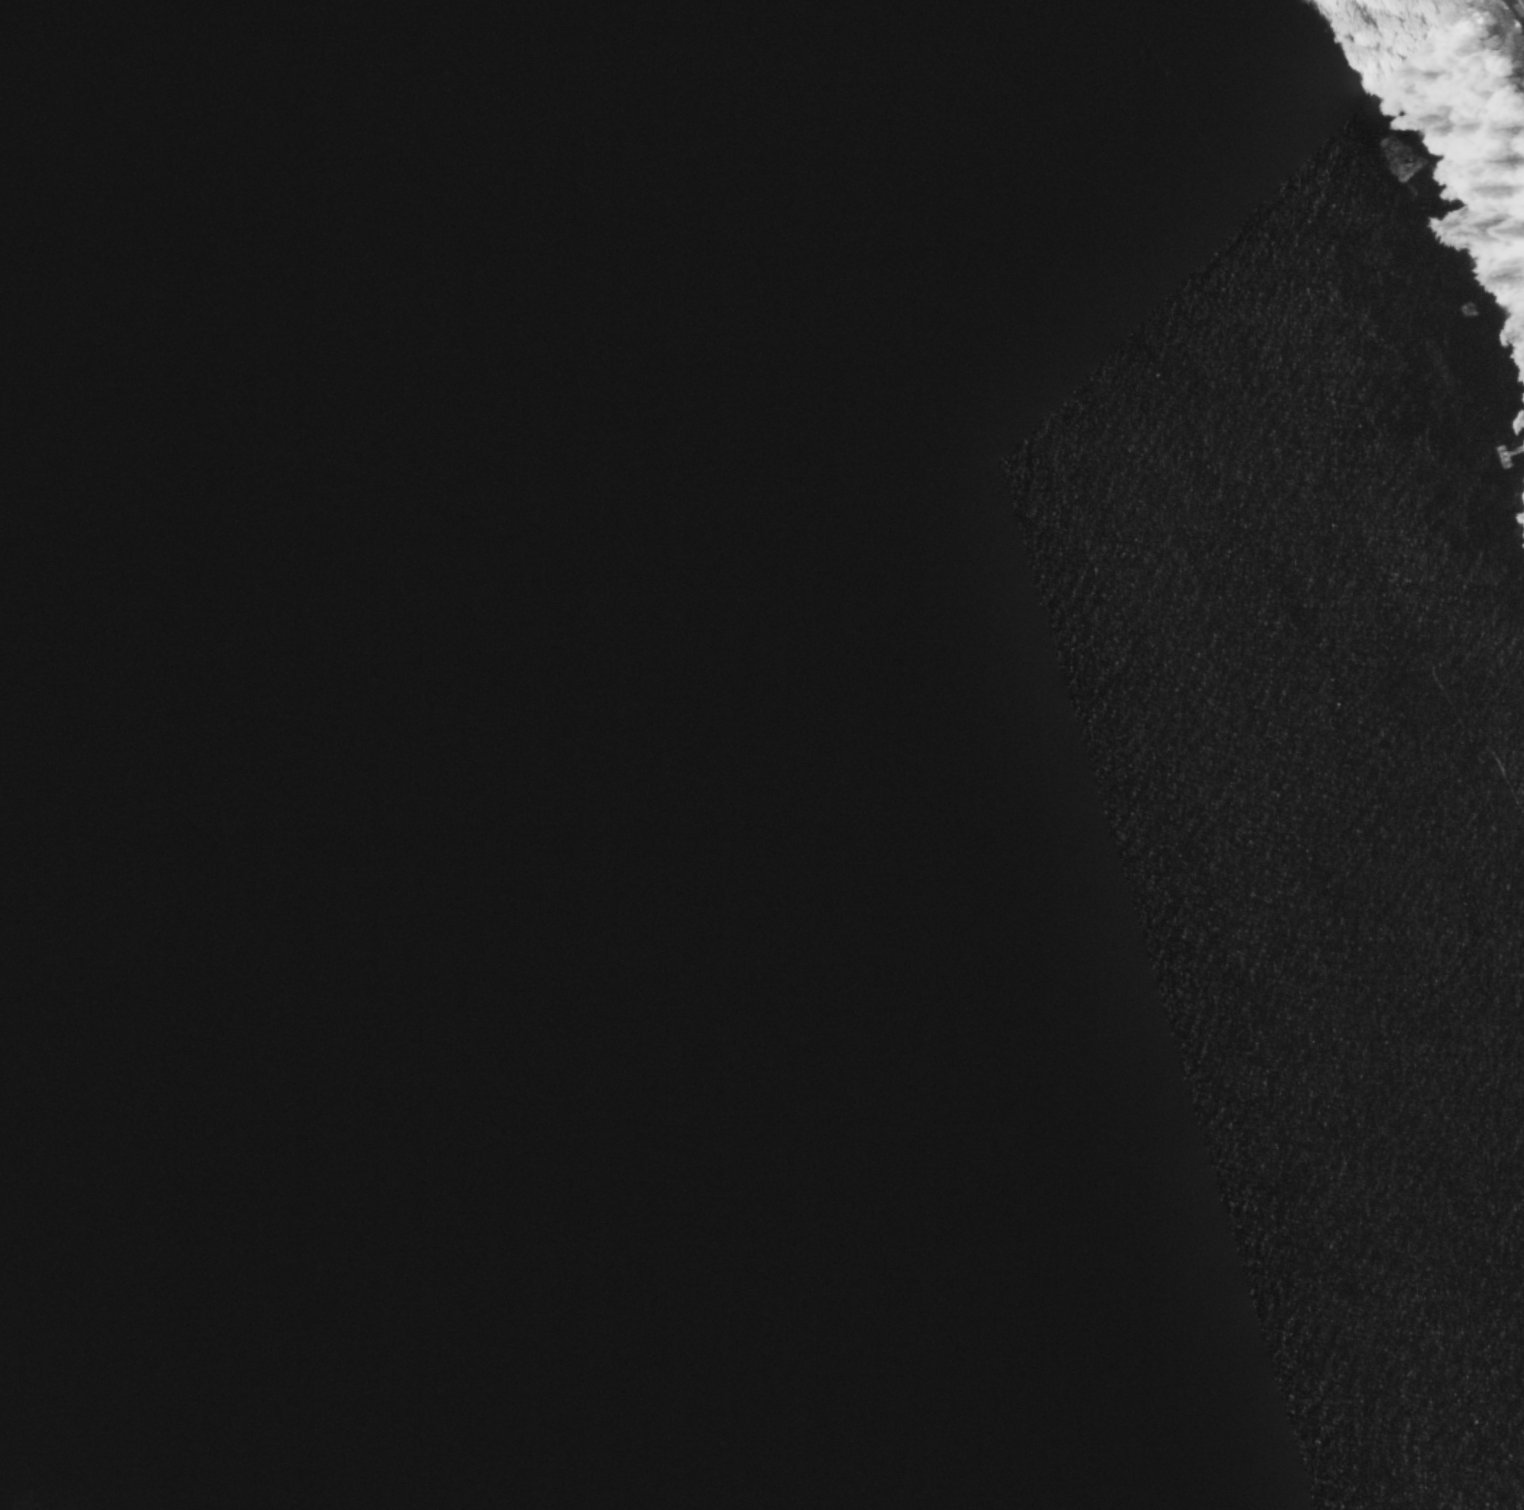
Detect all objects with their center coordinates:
road: (1518, 7)
river: (599, 836)
river: (197, 1055)

